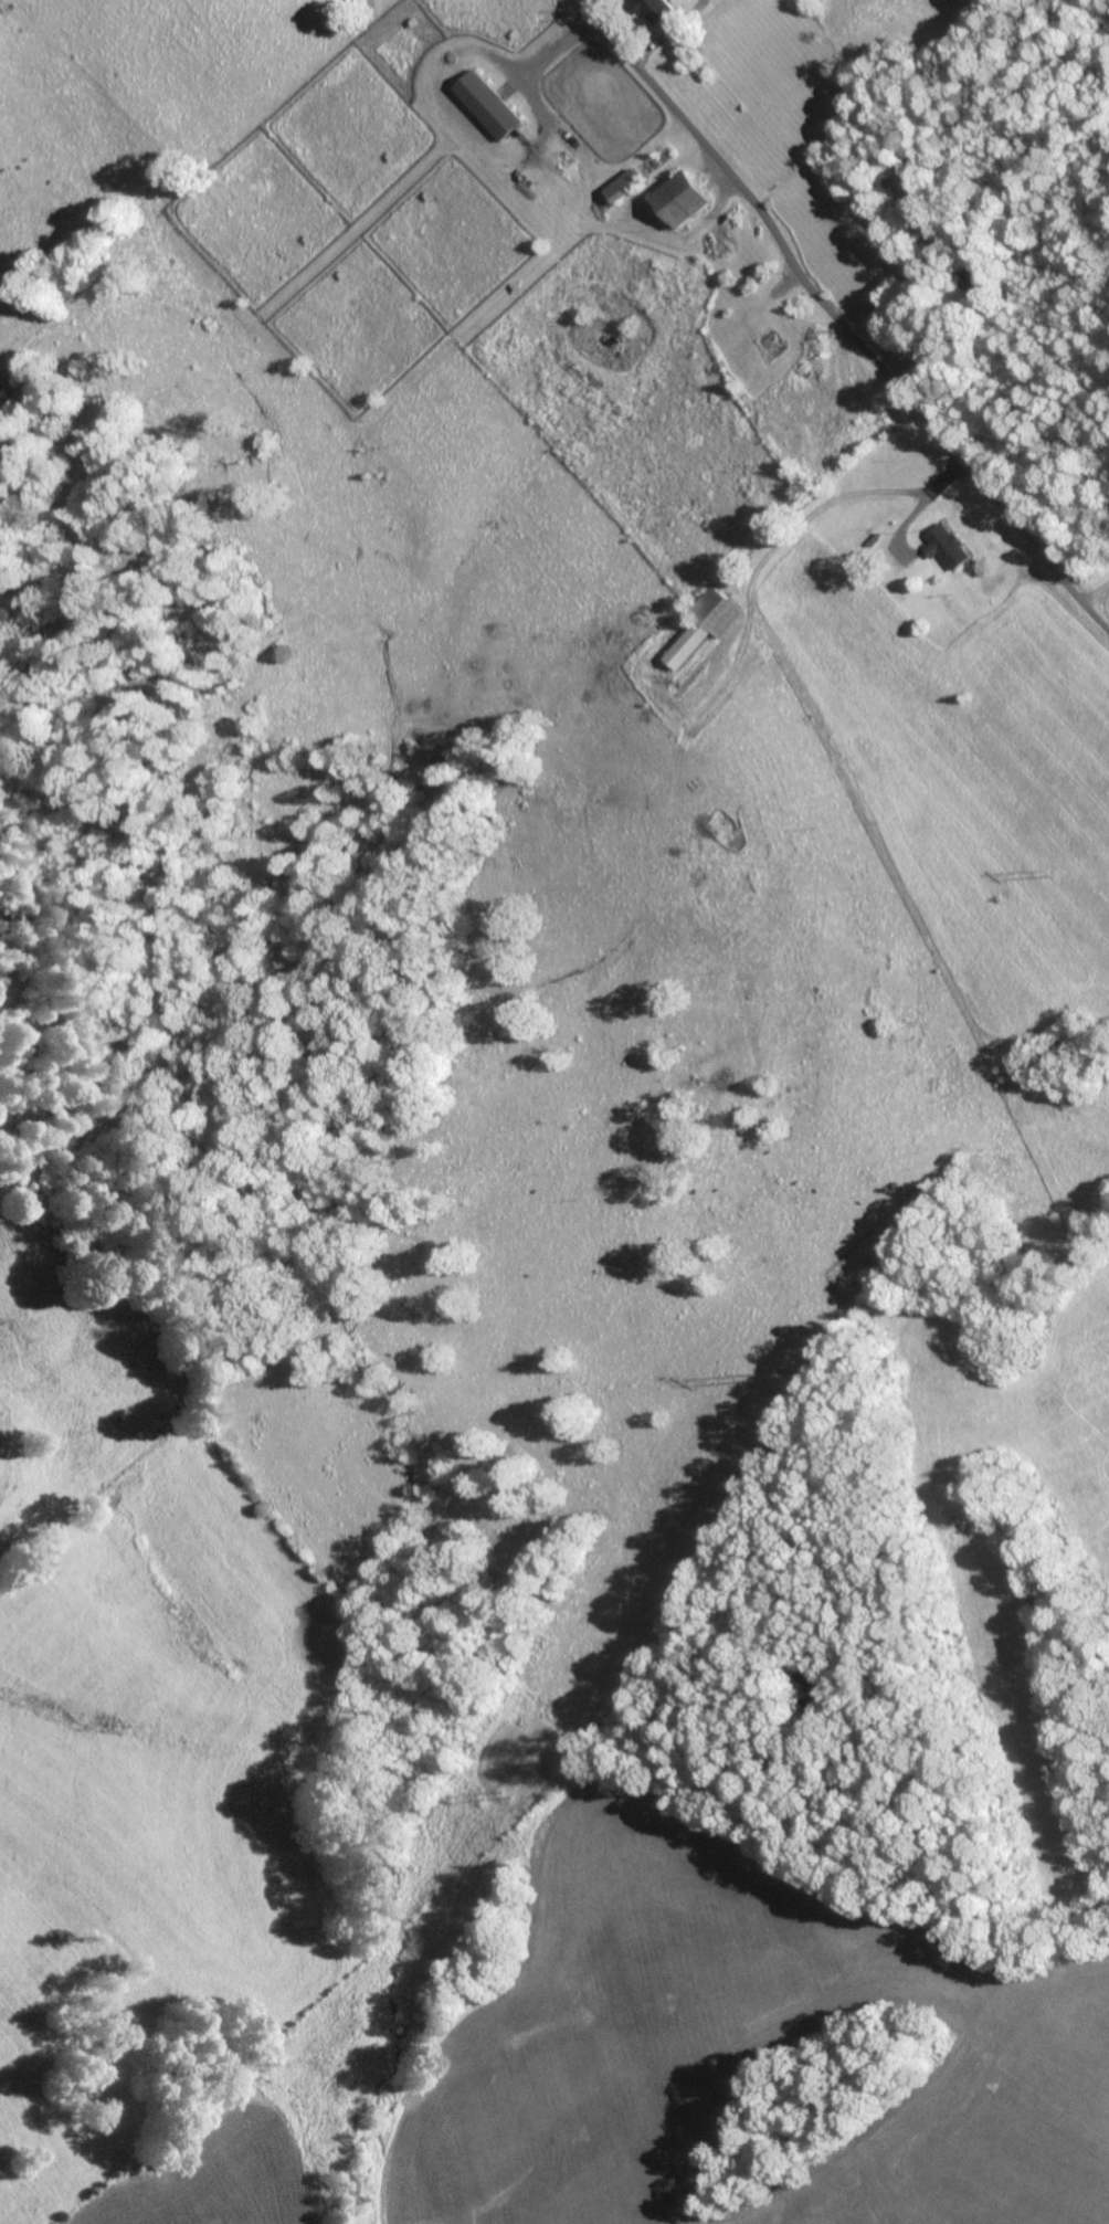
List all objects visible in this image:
building: (652, 9)
building: (486, 104)
building: (617, 186)
building: (675, 199)
road: (837, 322)
building: (942, 546)
building: (703, 626)
power tower: (1054, 866)
power tower: (753, 1378)
power tower: (507, 1794)

